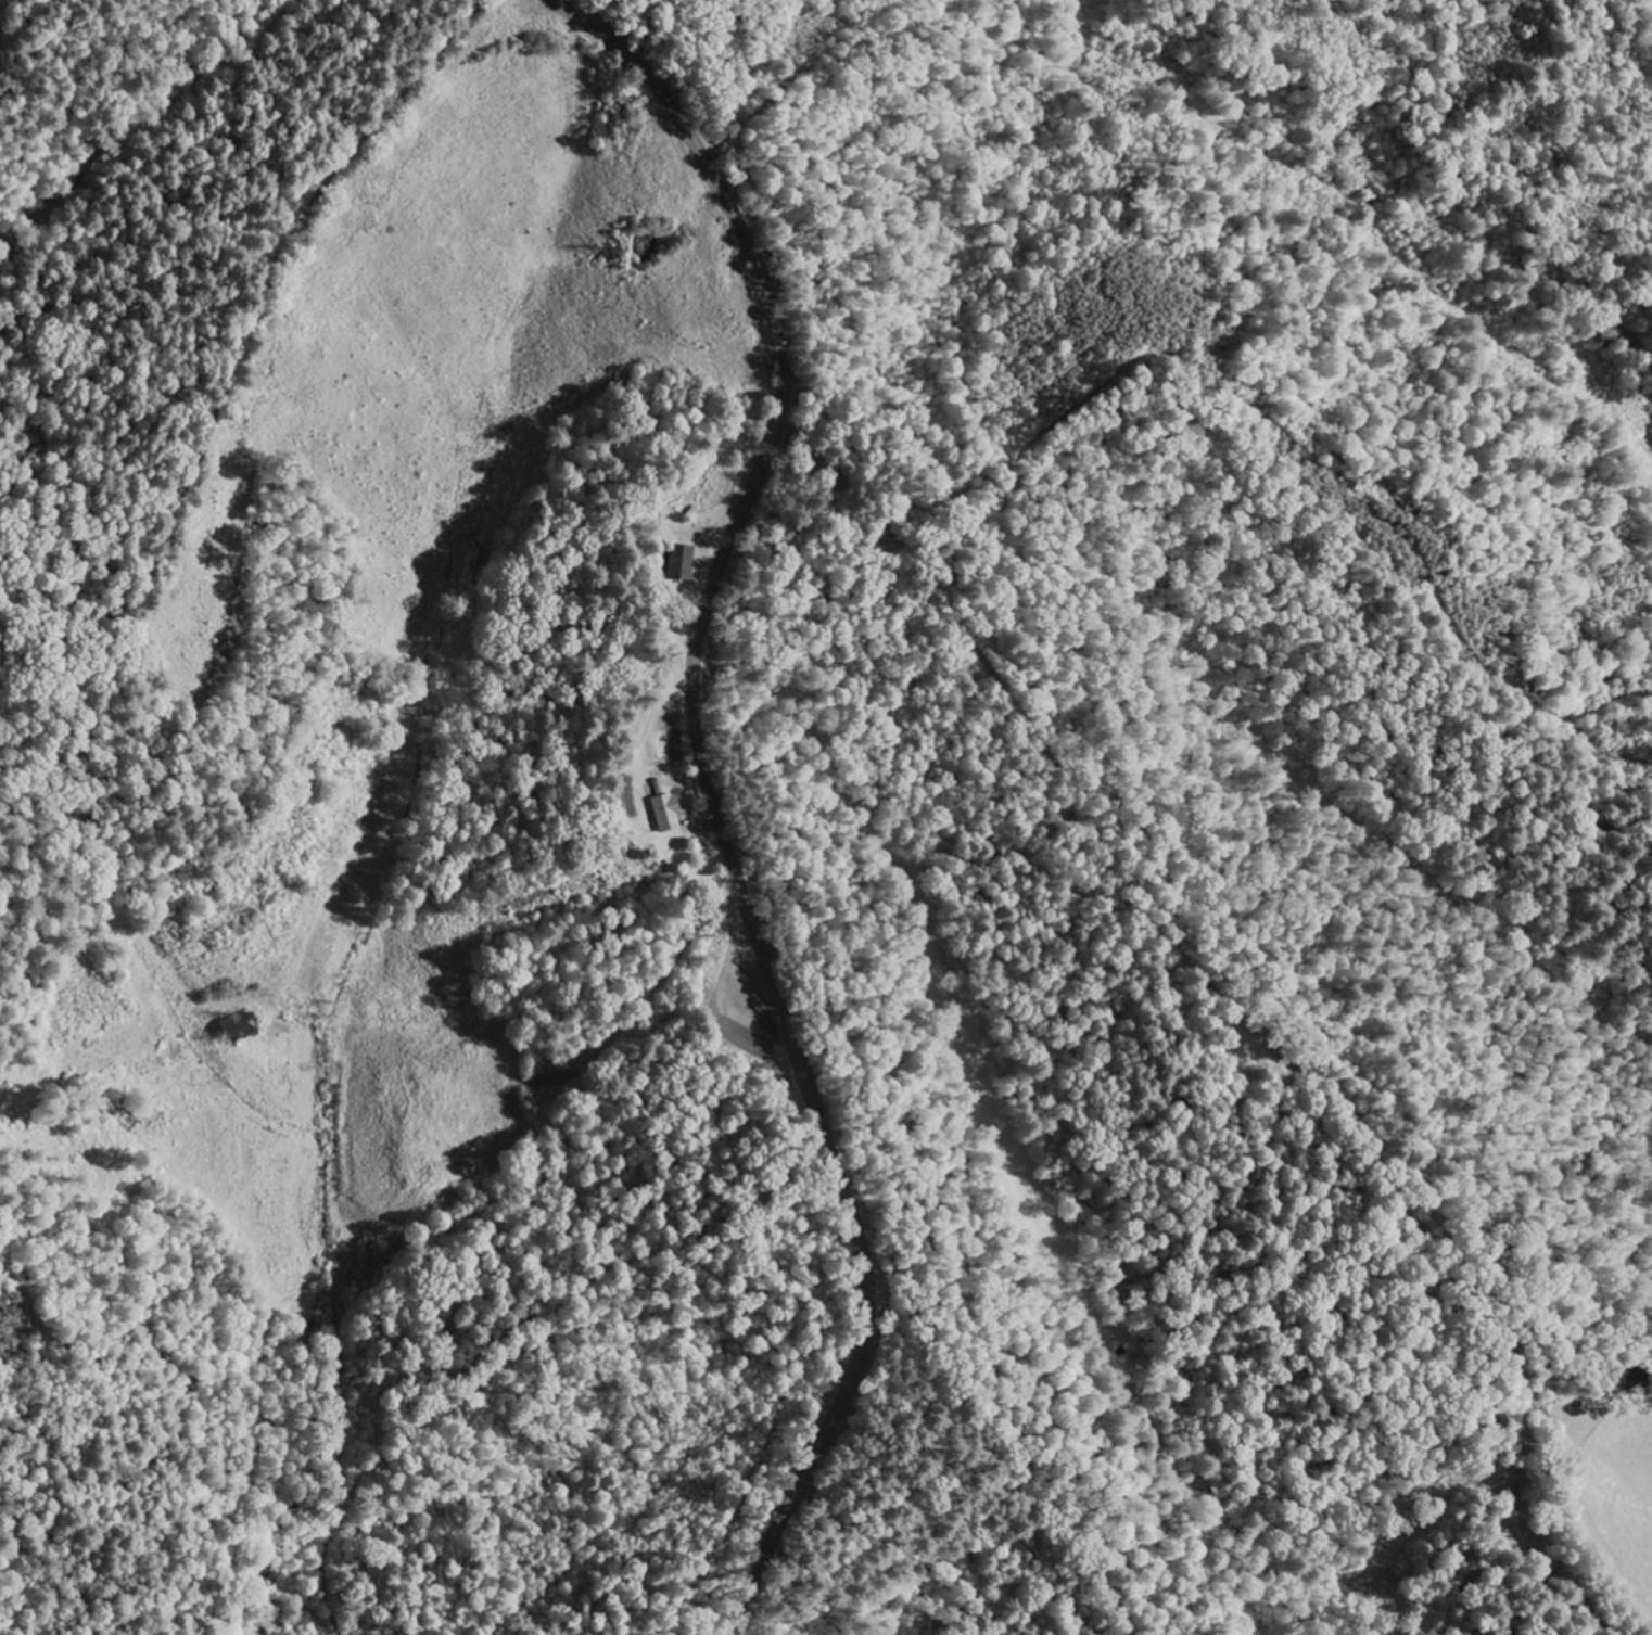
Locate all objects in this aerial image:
building: (674, 562)
road: (710, 794)
building: (661, 814)
road: (582, 1066)

